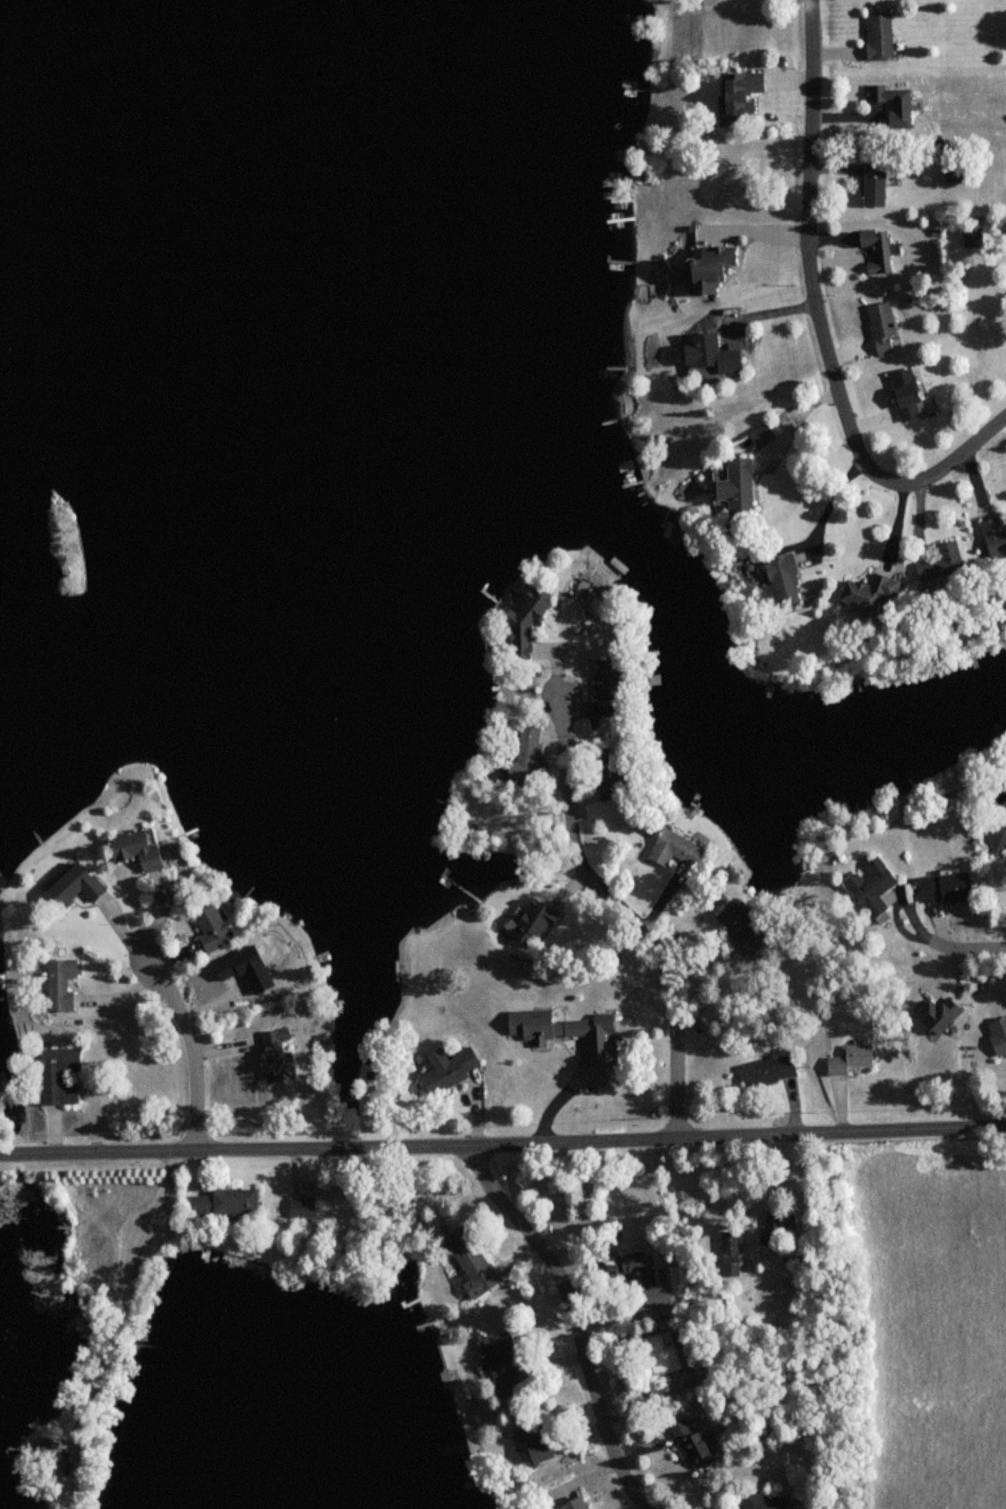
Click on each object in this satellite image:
building: (881, 34)
building: (743, 92)
building: (894, 102)
building: (957, 173)
building: (877, 184)
building: (973, 234)
building: (878, 248)
building: (715, 267)
road: (762, 316)
road: (818, 318)
building: (883, 328)
building: (712, 356)
building: (909, 394)
road: (792, 419)
building: (762, 434)
building: (738, 487)
road: (830, 498)
building: (996, 536)
building: (946, 562)
building: (787, 579)
building: (872, 591)
building: (534, 617)
building: (617, 688)
building: (532, 752)
building: (613, 773)
building: (142, 849)
building: (681, 849)
building: (80, 886)
building: (875, 886)
building: (950, 888)
road: (612, 899)
building: (537, 922)
building: (216, 926)
building: (746, 927)
road: (953, 948)
building: (63, 984)
building: (943, 1014)
building: (571, 1033)
road: (192, 1045)
building: (278, 1054)
building: (854, 1059)
building: (460, 1066)
building: (772, 1070)
building: (61, 1074)
road: (599, 1141)
road: (96, 1150)
road: (294, 1167)
road: (201, 1168)
building: (225, 1203)
building: (302, 1207)
building: (781, 1224)
road: (520, 1253)
building: (734, 1254)
building: (477, 1269)
road: (586, 1270)
building: (640, 1270)
road: (575, 1319)
road: (113, 1327)
road: (606, 1352)
building: (661, 1353)
building: (503, 1359)
road: (553, 1361)
building: (536, 1443)
building: (695, 1443)
road: (633, 1445)
building: (45, 1447)
road: (581, 1475)
building: (769, 1502)
building: (576, 1504)

